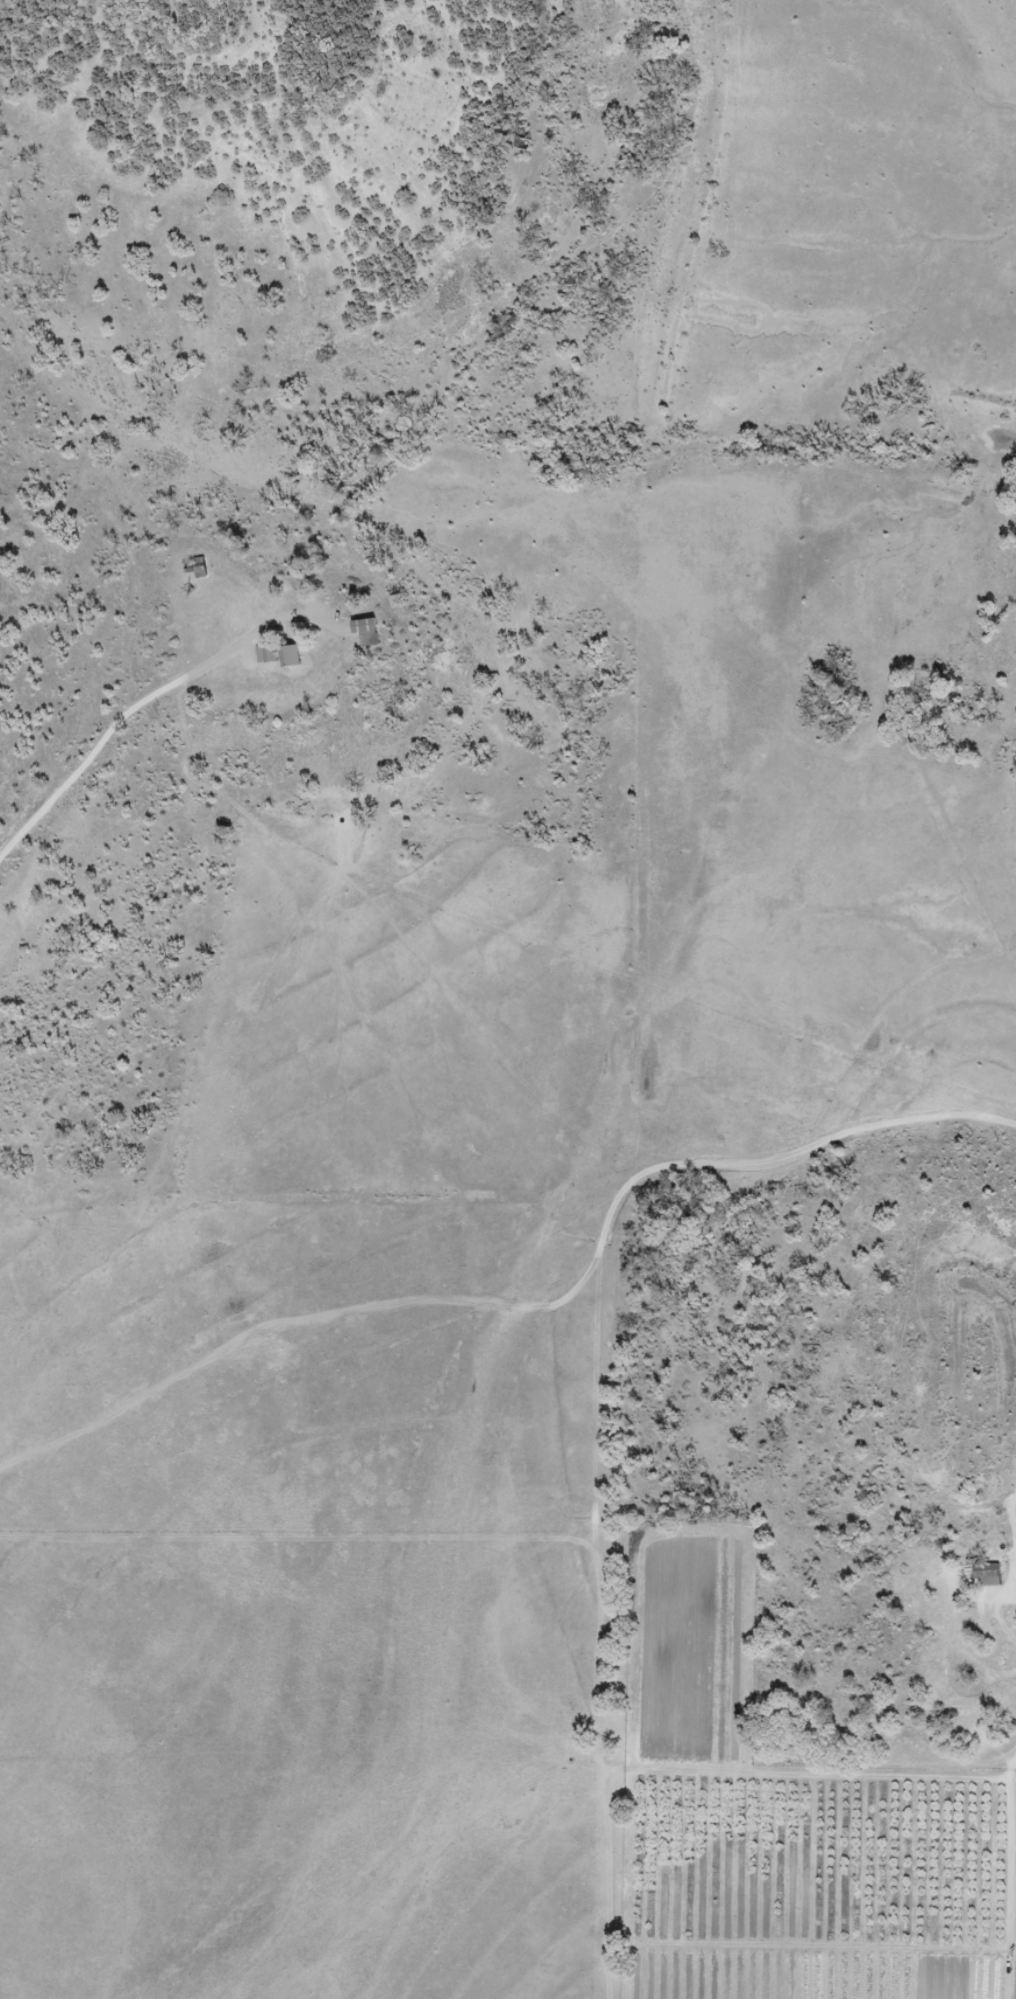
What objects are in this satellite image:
building: (198, 570)
building: (365, 633)
building: (289, 658)
road: (503, 1167)
building: (986, 1575)

